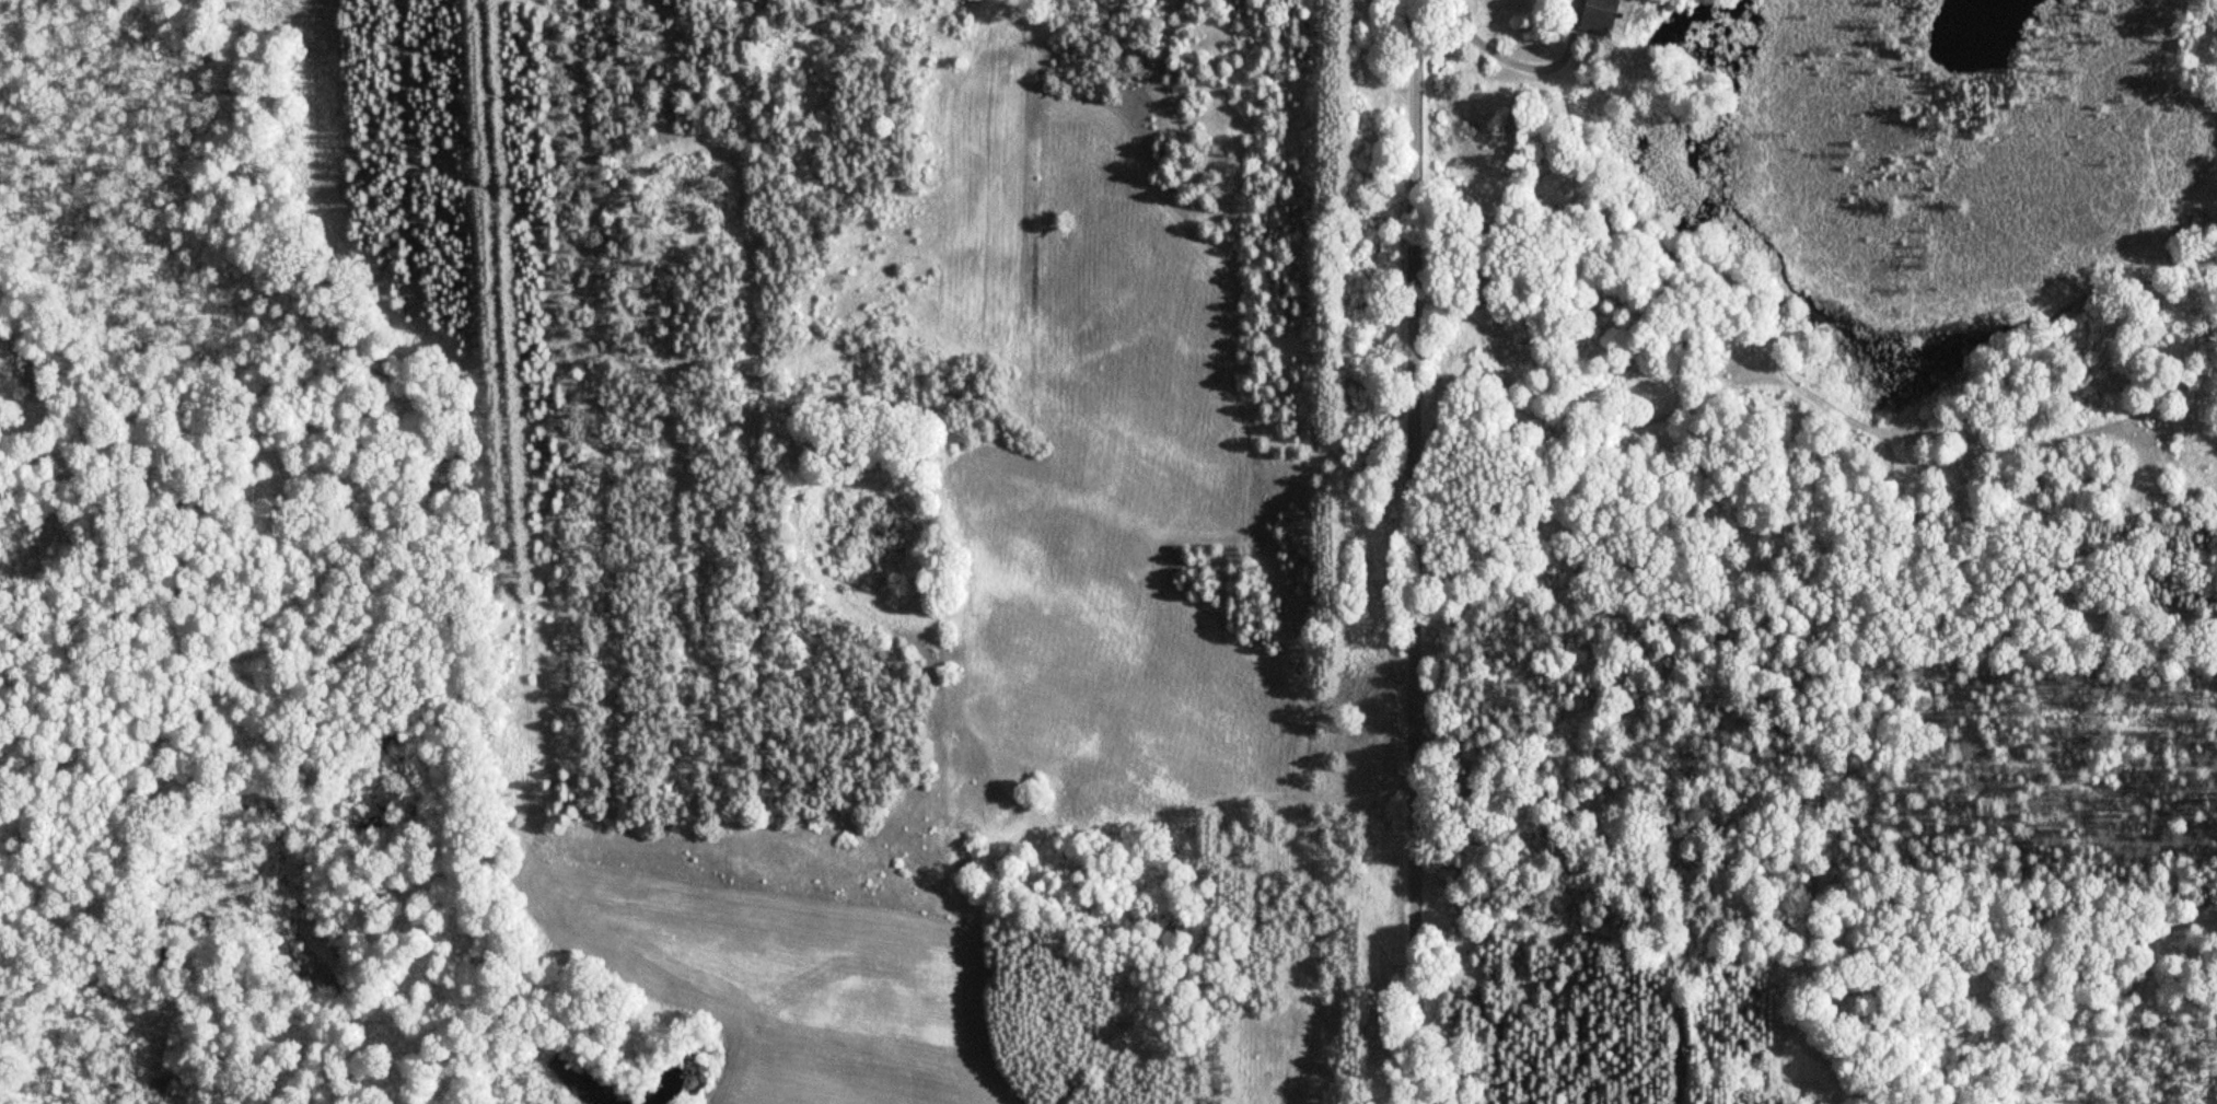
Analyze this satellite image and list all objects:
building: (1600, 16)
road: (1423, 551)

